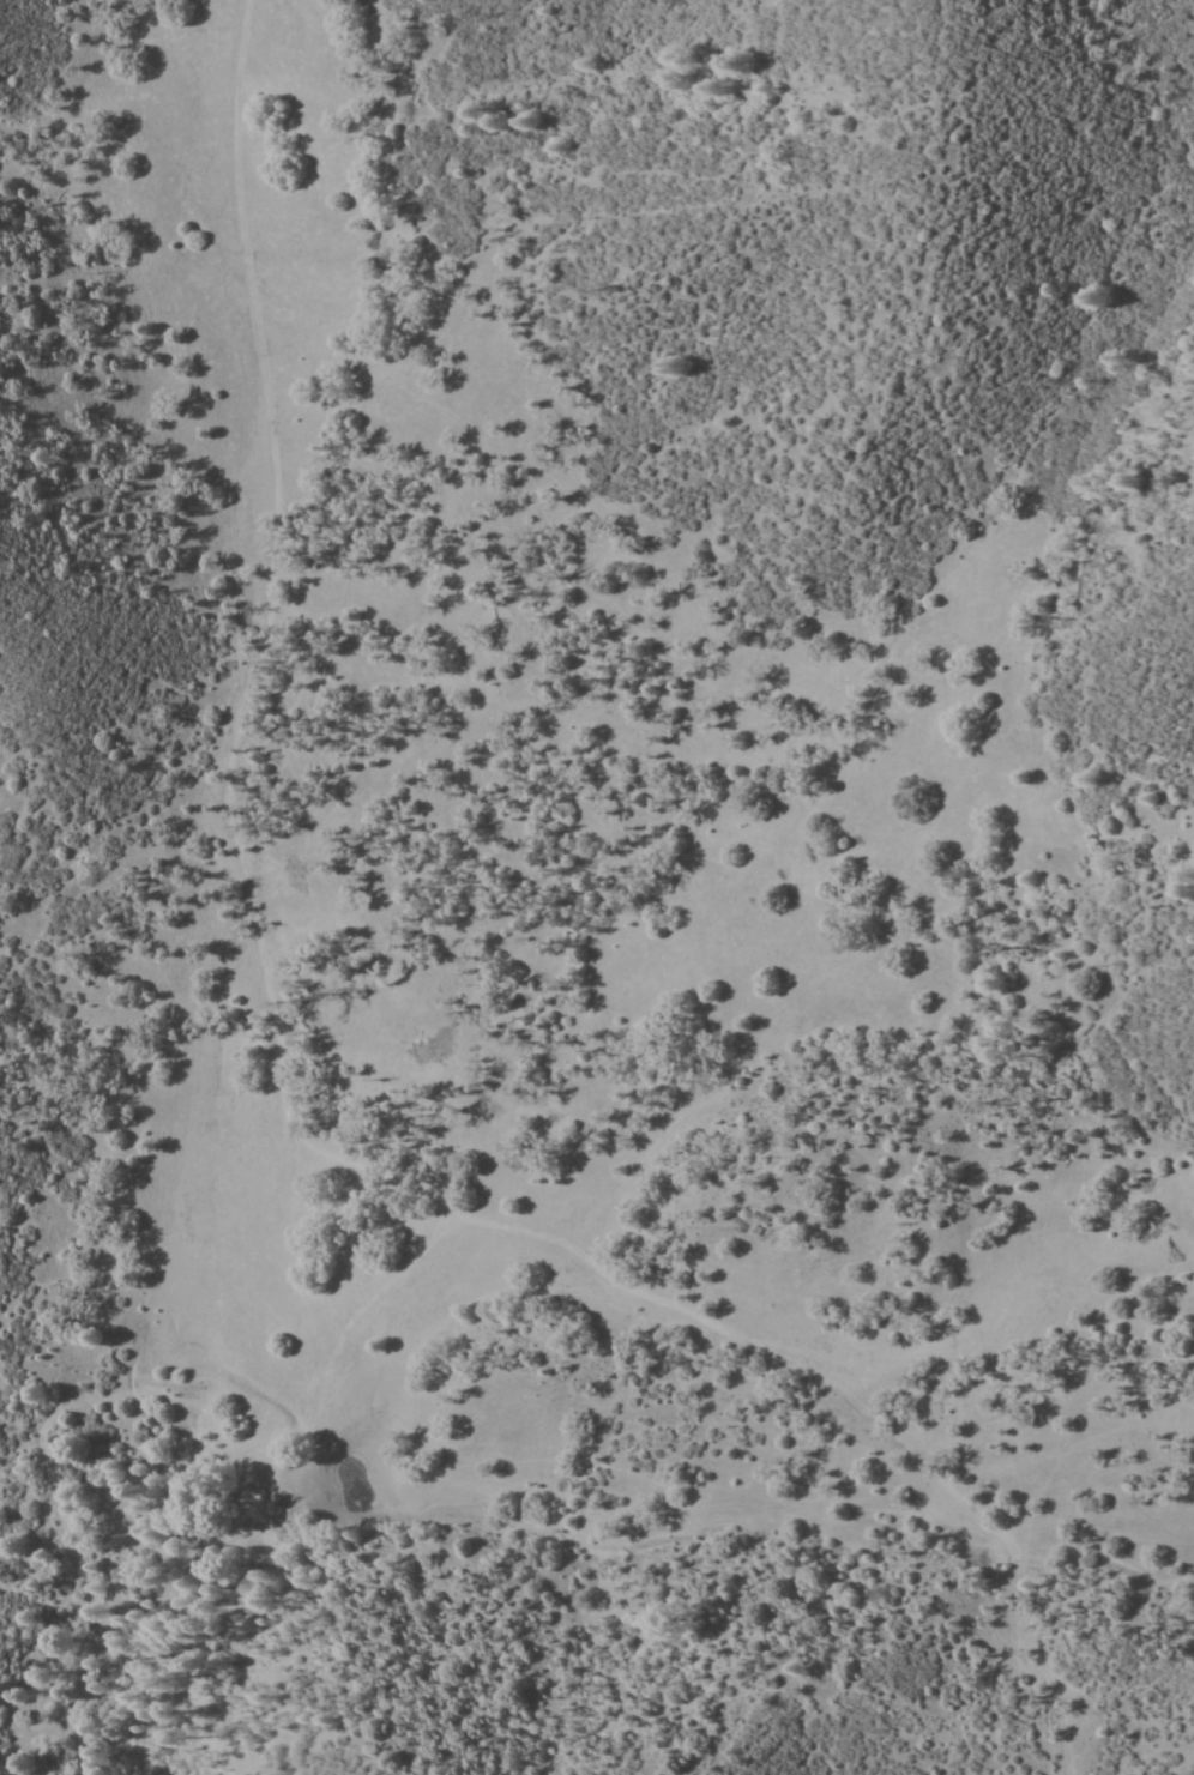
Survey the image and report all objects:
road: (1030, 1661)

